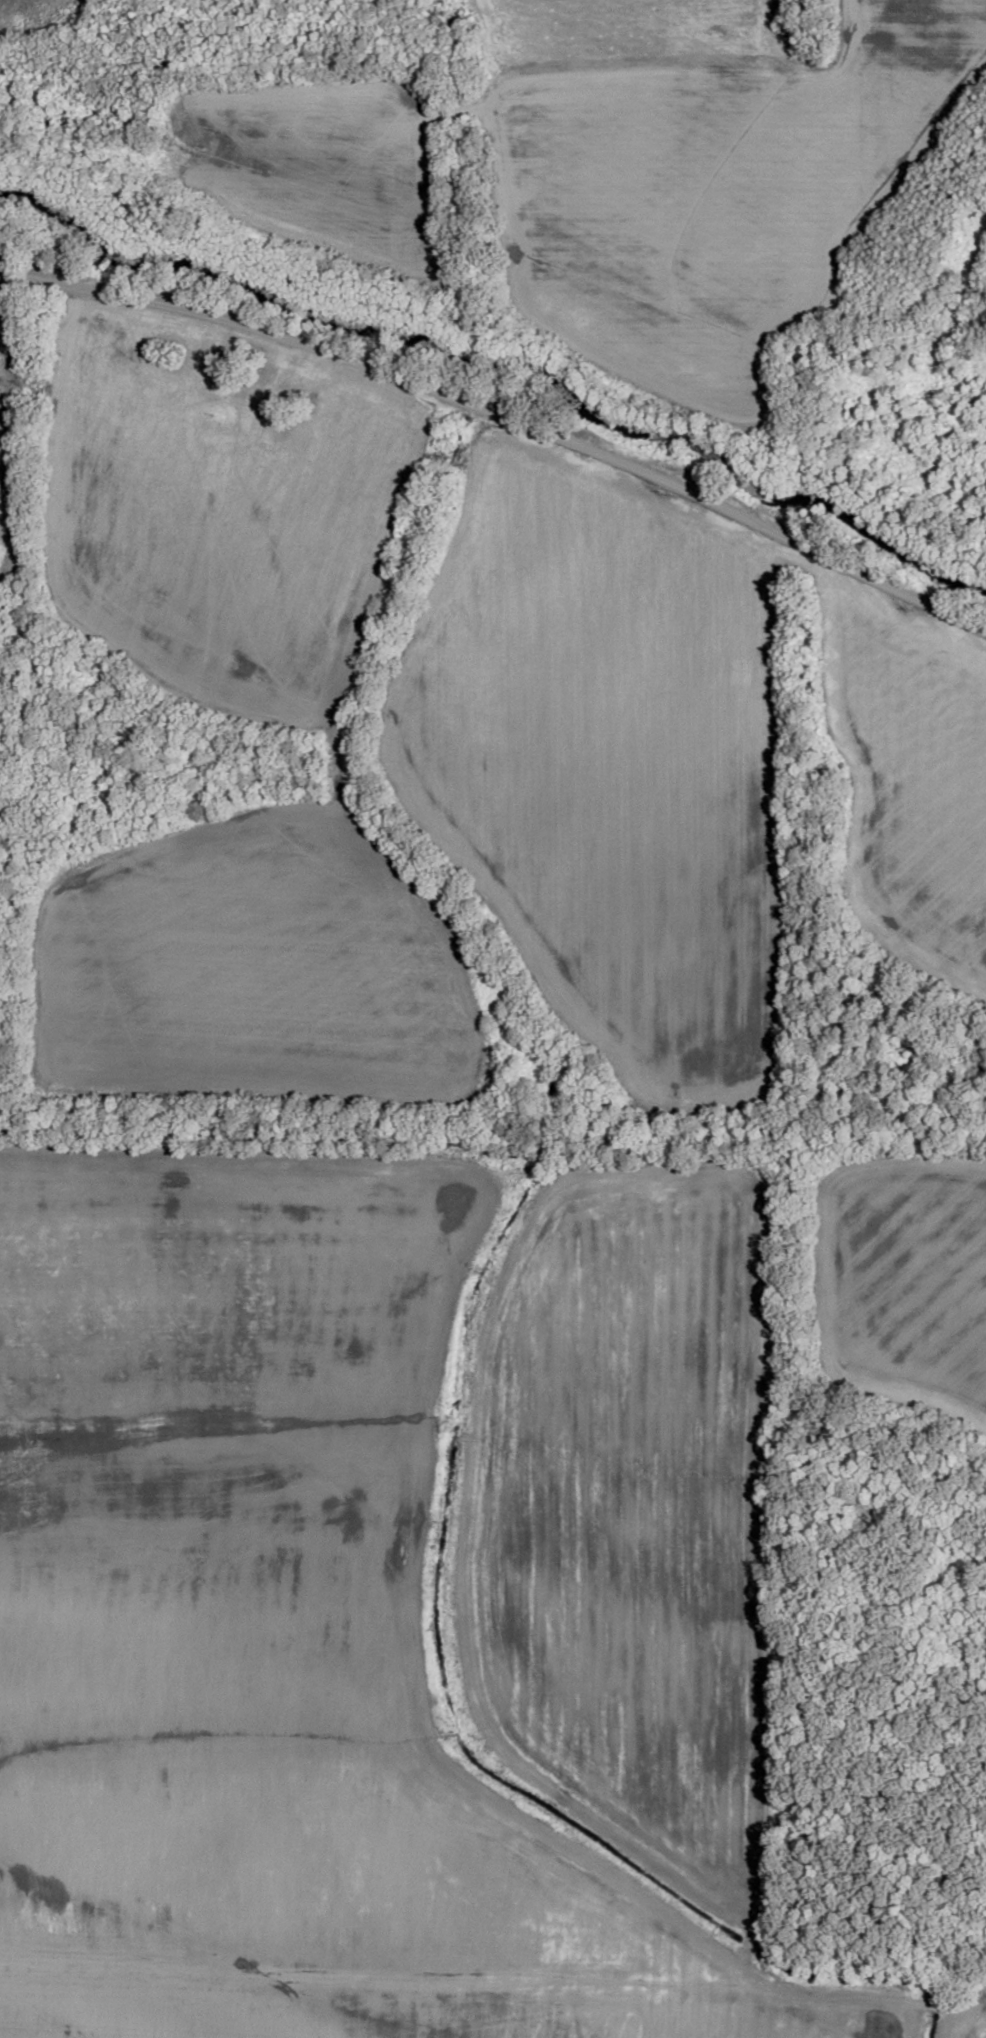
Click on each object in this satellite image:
road: (505, 417)
road: (454, 1973)

